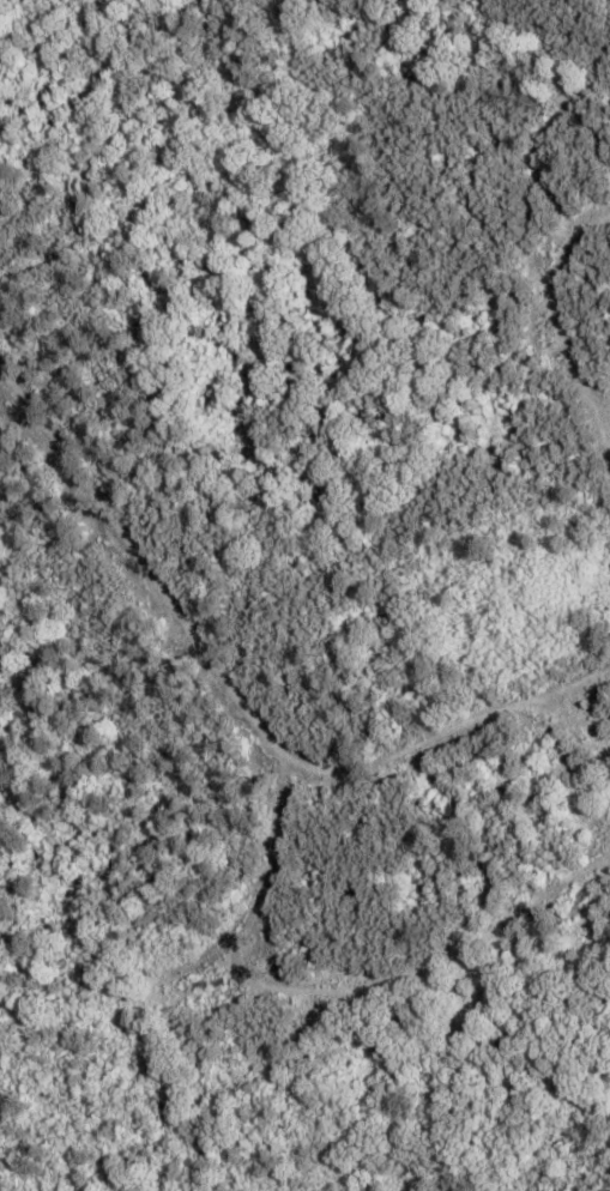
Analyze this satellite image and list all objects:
road: (235, 639)

